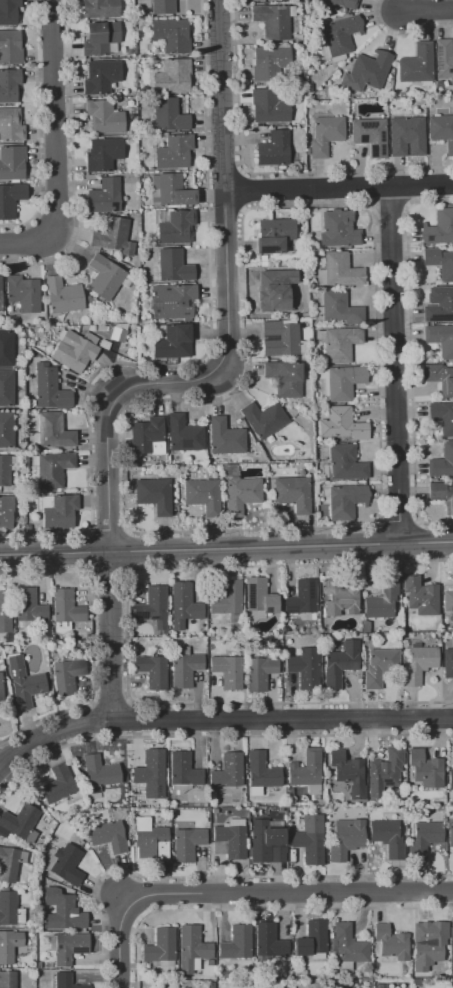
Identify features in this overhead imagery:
building: (344, 3)
building: (162, 6)
building: (99, 8)
building: (8, 12)
road: (429, 12)
building: (272, 20)
building: (171, 35)
building: (340, 36)
building: (100, 38)
building: (10, 47)
building: (443, 58)
building: (270, 62)
building: (416, 64)
building: (366, 71)
building: (100, 76)
building: (171, 76)
building: (9, 85)
building: (269, 106)
building: (168, 115)
building: (104, 117)
building: (11, 124)
building: (441, 131)
building: (325, 134)
building: (370, 134)
building: (407, 136)
building: (273, 148)
road: (56, 151)
building: (174, 151)
building: (103, 153)
building: (12, 163)
road: (341, 187)
building: (170, 190)
building: (104, 196)
building: (11, 199)
building: (176, 227)
building: (439, 228)
building: (338, 230)
building: (274, 235)
building: (113, 236)
building: (440, 262)
building: (173, 265)
building: (339, 271)
building: (104, 277)
building: (23, 293)
building: (0, 295)
building: (63, 295)
building: (275, 295)
building: (172, 301)
building: (438, 304)
building: (338, 308)
building: (118, 335)
building: (279, 338)
building: (440, 339)
building: (173, 342)
building: (338, 343)
building: (6, 348)
building: (74, 350)
road: (398, 364)
building: (284, 377)
building: (439, 378)
road: (199, 380)
building: (341, 381)
building: (49, 387)
building: (6, 388)
building: (443, 416)
building: (263, 419)
building: (341, 424)
building: (6, 430)
building: (52, 431)
building: (184, 433)
building: (147, 436)
building: (224, 437)
building: (442, 462)
building: (344, 464)
building: (52, 468)
building: (4, 470)
building: (293, 493)
building: (241, 494)
building: (154, 495)
building: (202, 495)
building: (442, 495)
building: (343, 501)
building: (58, 510)
building: (6, 512)
road: (226, 548)
building: (259, 596)
building: (421, 596)
building: (227, 597)
building: (302, 597)
building: (340, 599)
building: (381, 600)
building: (447, 600)
building: (29, 605)
building: (184, 606)
building: (153, 608)
building: (66, 610)
building: (5, 611)
building: (75, 626)
building: (448, 662)
building: (340, 663)
building: (419, 664)
building: (380, 666)
building: (305, 667)
building: (185, 669)
building: (152, 670)
building: (228, 670)
building: (259, 672)
building: (67, 676)
building: (24, 683)
building: (1, 690)
road: (220, 713)
building: (184, 769)
building: (425, 769)
building: (150, 770)
building: (99, 771)
building: (227, 771)
building: (262, 771)
building: (306, 771)
building: (348, 772)
building: (385, 772)
building: (450, 779)
building: (60, 785)
building: (18, 822)
building: (108, 834)
building: (450, 834)
building: (387, 837)
building: (424, 837)
building: (346, 838)
building: (150, 839)
building: (230, 839)
building: (310, 839)
building: (187, 842)
building: (266, 842)
building: (10, 863)
building: (65, 864)
road: (238, 891)
building: (10, 909)
building: (68, 913)
building: (452, 931)
building: (312, 939)
building: (269, 941)
building: (391, 942)
building: (236, 943)
building: (432, 943)
building: (349, 944)
building: (9, 945)
building: (160, 945)
building: (67, 946)
building: (192, 948)
building: (452, 957)
building: (8, 979)
building: (67, 981)

